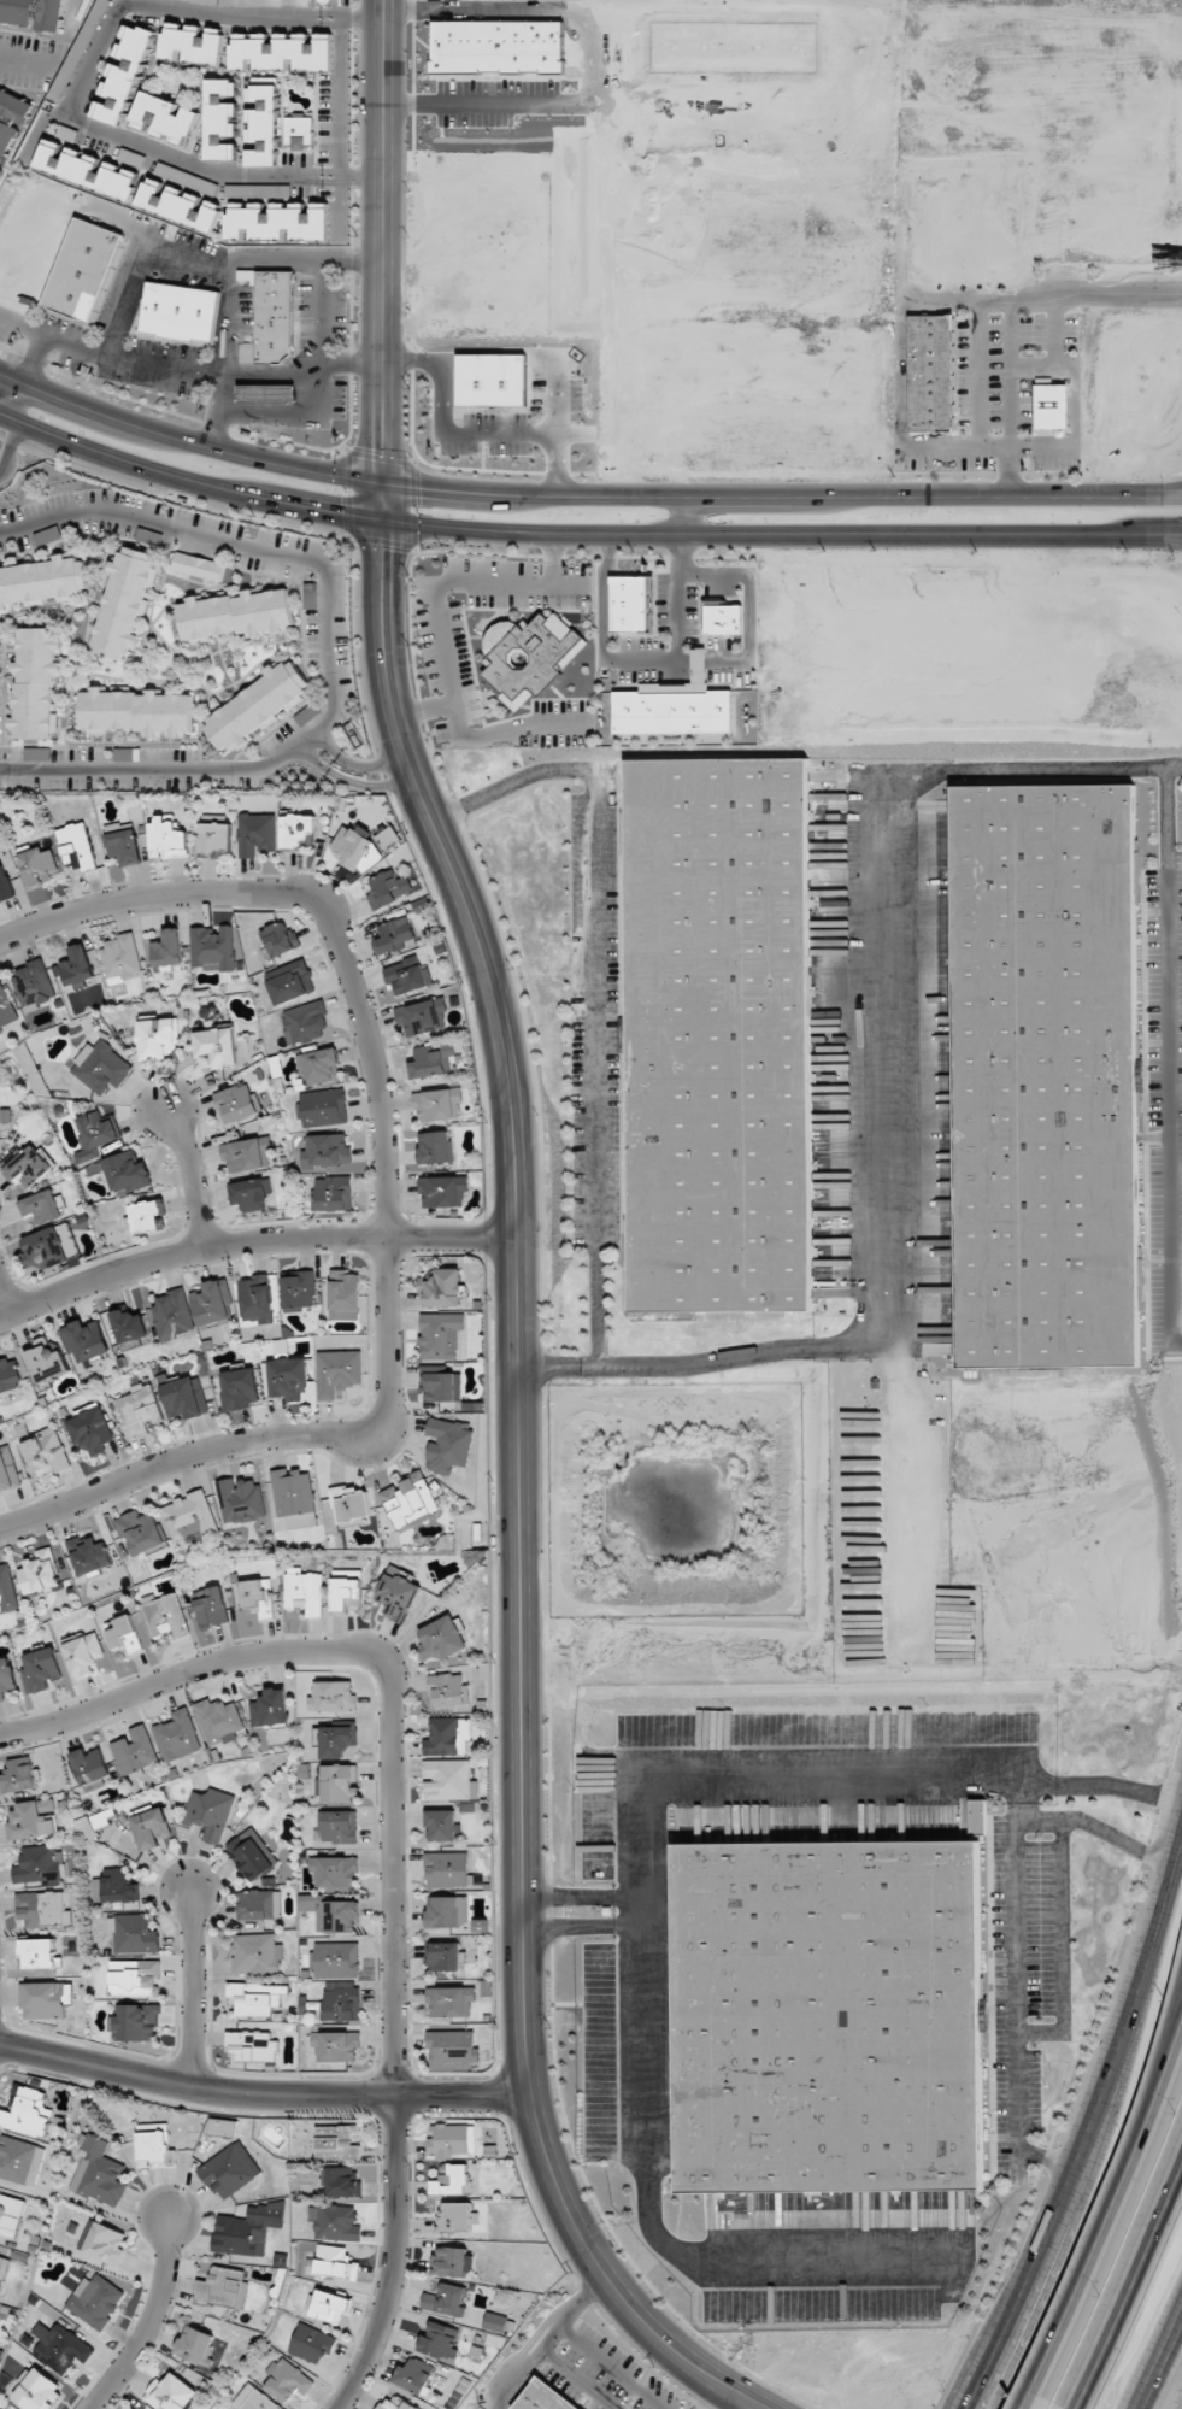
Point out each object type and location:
building: (31, 13)
building: (192, 43)
building: (80, 48)
building: (281, 52)
road: (19, 63)
building: (123, 74)
road: (81, 87)
building: (164, 118)
building: (220, 119)
building: (11, 121)
building: (261, 122)
building: (299, 130)
building: (131, 158)
building: (87, 169)
building: (186, 178)
building: (180, 204)
building: (278, 221)
road: (384, 241)
building: (83, 269)
road: (230, 277)
building: (181, 311)
building: (274, 315)
building: (245, 352)
road: (108, 354)
road: (34, 357)
building: (930, 371)
road: (304, 375)
building: (492, 380)
road: (16, 401)
building: (1051, 406)
road: (5, 423)
road: (188, 439)
road: (10, 443)
traffic signals: (383, 450)
road: (187, 482)
traffic signals: (419, 488)
road: (782, 495)
road: (382, 501)
traffic signals: (339, 513)
road: (686, 517)
road: (781, 537)
traffic signals: (382, 550)
building: (198, 566)
building: (43, 581)
building: (124, 603)
building: (631, 603)
building: (236, 613)
building: (723, 617)
road: (331, 646)
building: (528, 656)
building: (36, 682)
building: (676, 704)
building: (255, 706)
building: (136, 710)
road: (327, 742)
road: (313, 754)
road: (369, 764)
road: (367, 785)
building: (298, 830)
building: (257, 834)
building: (216, 836)
building: (167, 838)
building: (122, 842)
building: (76, 846)
building: (351, 846)
building: (37, 868)
building: (5, 885)
building: (387, 889)
road: (151, 898)
building: (394, 934)
building: (278, 939)
building: (167, 948)
building: (213, 948)
building: (120, 959)
building: (76, 965)
building: (407, 975)
building: (290, 982)
road: (592, 983)
building: (34, 985)
building: (6, 1010)
building: (423, 1017)
building: (305, 1022)
building: (717, 1036)
building: (157, 1038)
building: (216, 1046)
building: (431, 1062)
building: (318, 1065)
building: (100, 1067)
building: (1042, 1076)
road: (880, 1091)
building: (235, 1103)
building: (437, 1104)
building: (323, 1107)
building: (95, 1135)
building: (435, 1147)
building: (325, 1150)
building: (245, 1154)
building: (29, 1165)
building: (123, 1171)
road: (187, 1179)
building: (442, 1191)
building: (331, 1193)
building: (249, 1194)
building: (41, 1206)
building: (145, 1216)
road: (252, 1241)
building: (48, 1246)
building: (443, 1288)
building: (299, 1292)
building: (343, 1295)
building: (212, 1302)
road: (4, 1303)
building: (171, 1315)
building: (129, 1326)
building: (441, 1335)
building: (86, 1340)
road: (387, 1351)
building: (46, 1361)
building: (337, 1373)
building: (8, 1374)
building: (288, 1379)
building: (442, 1386)
building: (239, 1389)
building: (184, 1397)
building: (137, 1410)
building: (90, 1428)
building: (448, 1445)
building: (45, 1451)
building: (7, 1471)
road: (906, 1491)
building: (294, 1498)
building: (410, 1499)
building: (240, 1500)
road: (516, 1502)
building: (351, 1504)
building: (188, 1516)
building: (140, 1532)
building: (88, 1555)
building: (40, 1574)
building: (346, 1588)
building: (7, 1590)
building: (304, 1591)
building: (396, 1593)
building: (258, 1596)
building: (210, 1606)
building: (164, 1615)
building: (123, 1635)
building: (441, 1639)
building: (82, 1655)
building: (40, 1669)
building: (6, 1676)
road: (186, 1676)
building: (447, 1691)
building: (331, 1697)
building: (270, 1709)
building: (219, 1721)
building: (178, 1735)
building: (448, 1737)
building: (336, 1740)
building: (134, 1750)
building: (90, 1768)
building: (18, 1778)
building: (448, 1780)
building: (339, 1784)
road: (1015, 1802)
building: (210, 1812)
building: (31, 1820)
building: (93, 1822)
building: (441, 1825)
building: (339, 1826)
building: (151, 1828)
building: (252, 1855)
building: (39, 1863)
building: (448, 1869)
building: (333, 1872)
road: (639, 1881)
building: (118, 1885)
building: (259, 1905)
building: (43, 1909)
road: (639, 1909)
building: (447, 1911)
building: (330, 1912)
road: (1016, 1932)
building: (133, 1933)
building: (39, 1952)
building: (255, 1953)
building: (443, 1956)
building: (336, 1959)
building: (134, 1978)
road: (193, 1991)
building: (255, 1998)
building: (46, 2000)
building: (451, 2002)
building: (341, 2004)
building: (829, 2016)
building: (135, 2022)
road: (396, 2038)
road: (1164, 2038)
building: (253, 2044)
building: (335, 2046)
building: (452, 2046)
road: (261, 2097)
building: (27, 2111)
building: (223, 2127)
road: (1090, 2131)
building: (451, 2139)
building: (335, 2143)
building: (153, 2145)
building: (20, 2161)
building: (229, 2170)
building: (96, 2172)
building: (451, 2181)
building: (342, 2182)
road: (1111, 2205)
building: (10, 2215)
building: (457, 2217)
building: (334, 2221)
building: (247, 2229)
building: (104, 2243)
building: (449, 2261)
building: (335, 2262)
building: (2, 2268)
road: (1133, 2284)
building: (222, 2287)
road: (1039, 2297)
building: (95, 2301)
building: (446, 2301)
building: (0, 2305)
building: (329, 2305)
road: (153, 2323)
building: (498, 2323)
building: (439, 2339)
road: (547, 2340)
building: (311, 2344)
building: (196, 2345)
building: (59, 2346)
road: (1163, 2363)
building: (413, 2375)
building: (287, 2381)
building: (37, 2391)
building: (170, 2393)
building: (539, 2398)
building: (253, 2399)
road: (1028, 2399)
road: (736, 2402)
building: (395, 2404)

